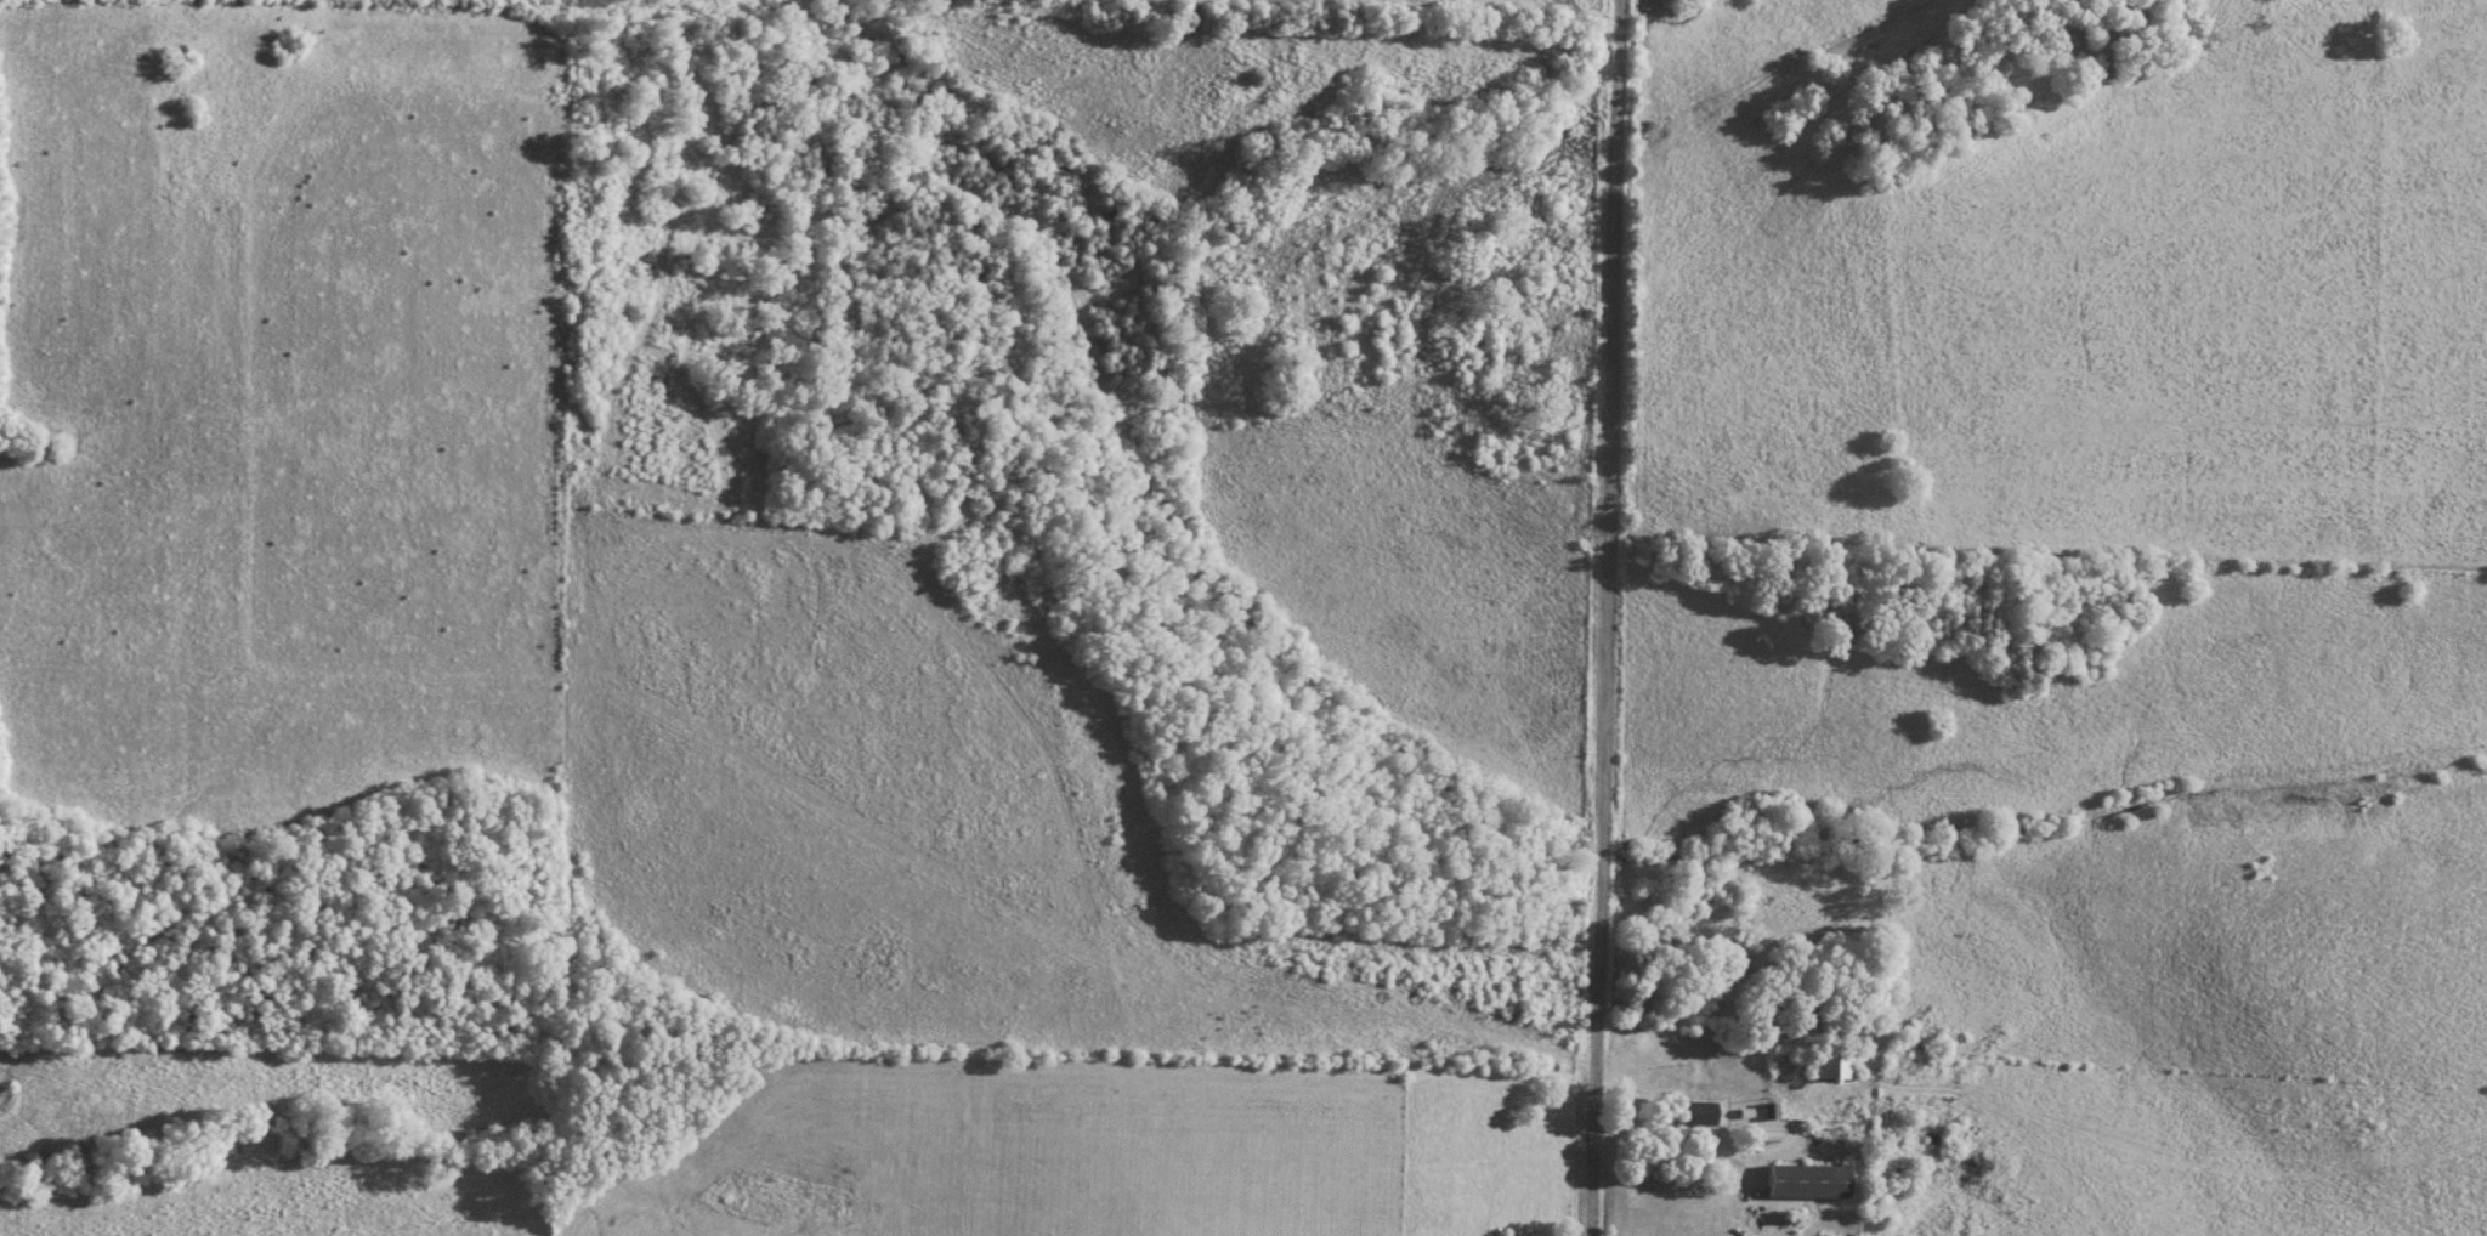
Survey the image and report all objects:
road: (1610, 617)
building: (1835, 1066)
building: (1774, 1111)
building: (1699, 1112)
road: (1726, 1162)
building: (1815, 1181)

